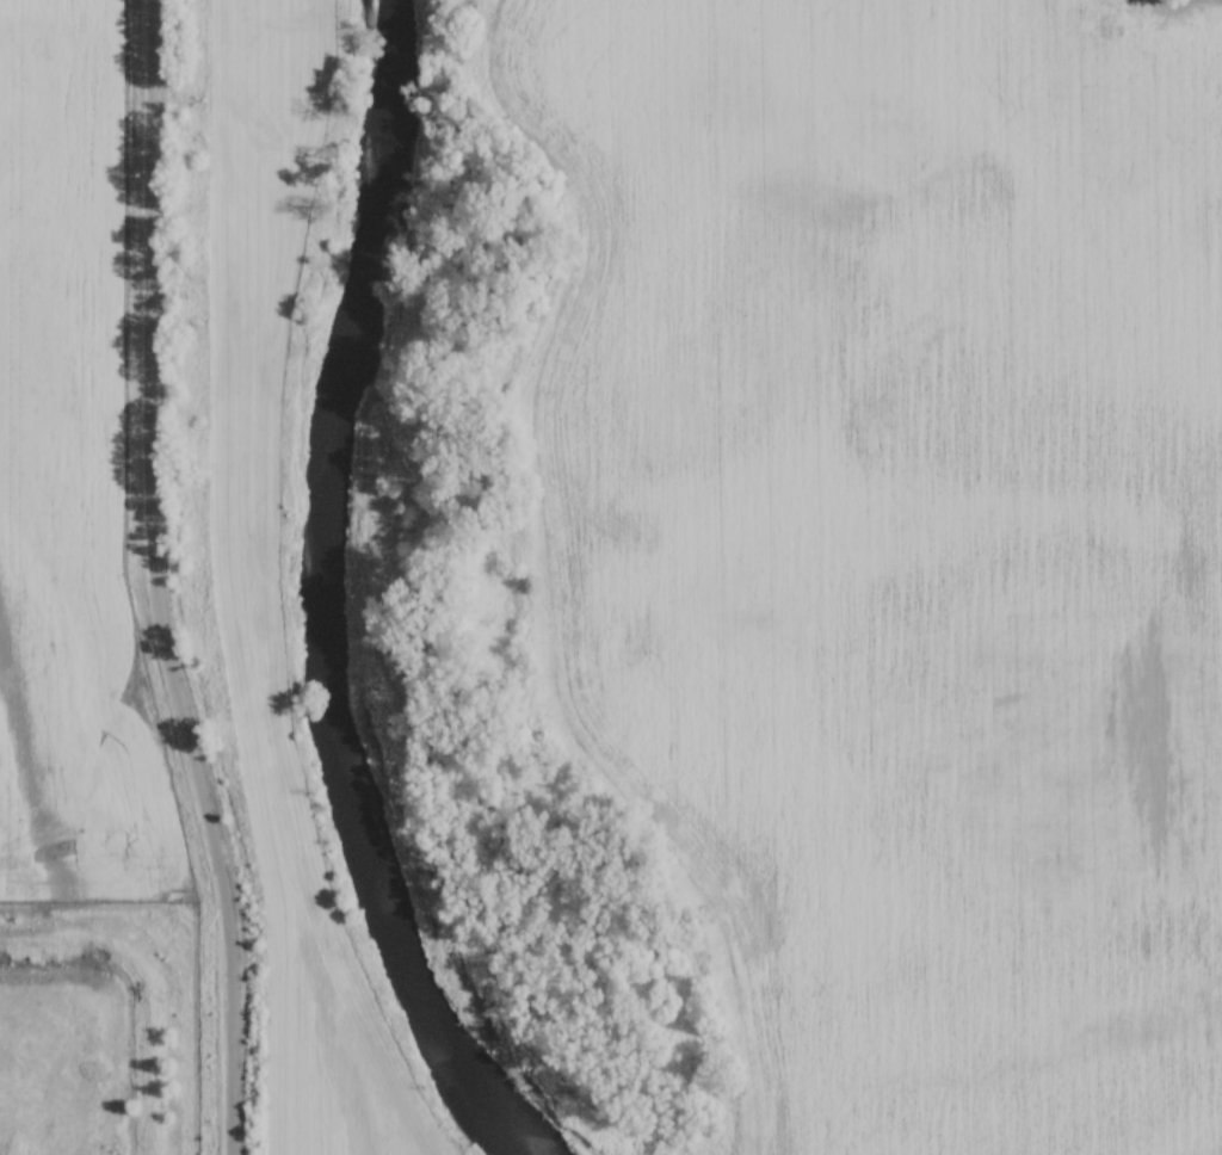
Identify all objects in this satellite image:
river: (325, 599)

